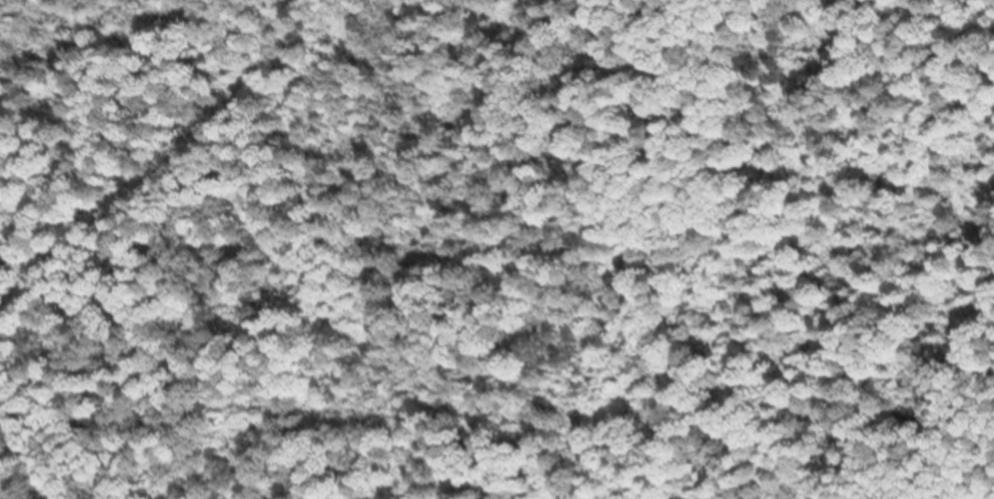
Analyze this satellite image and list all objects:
road: (83, 226)

